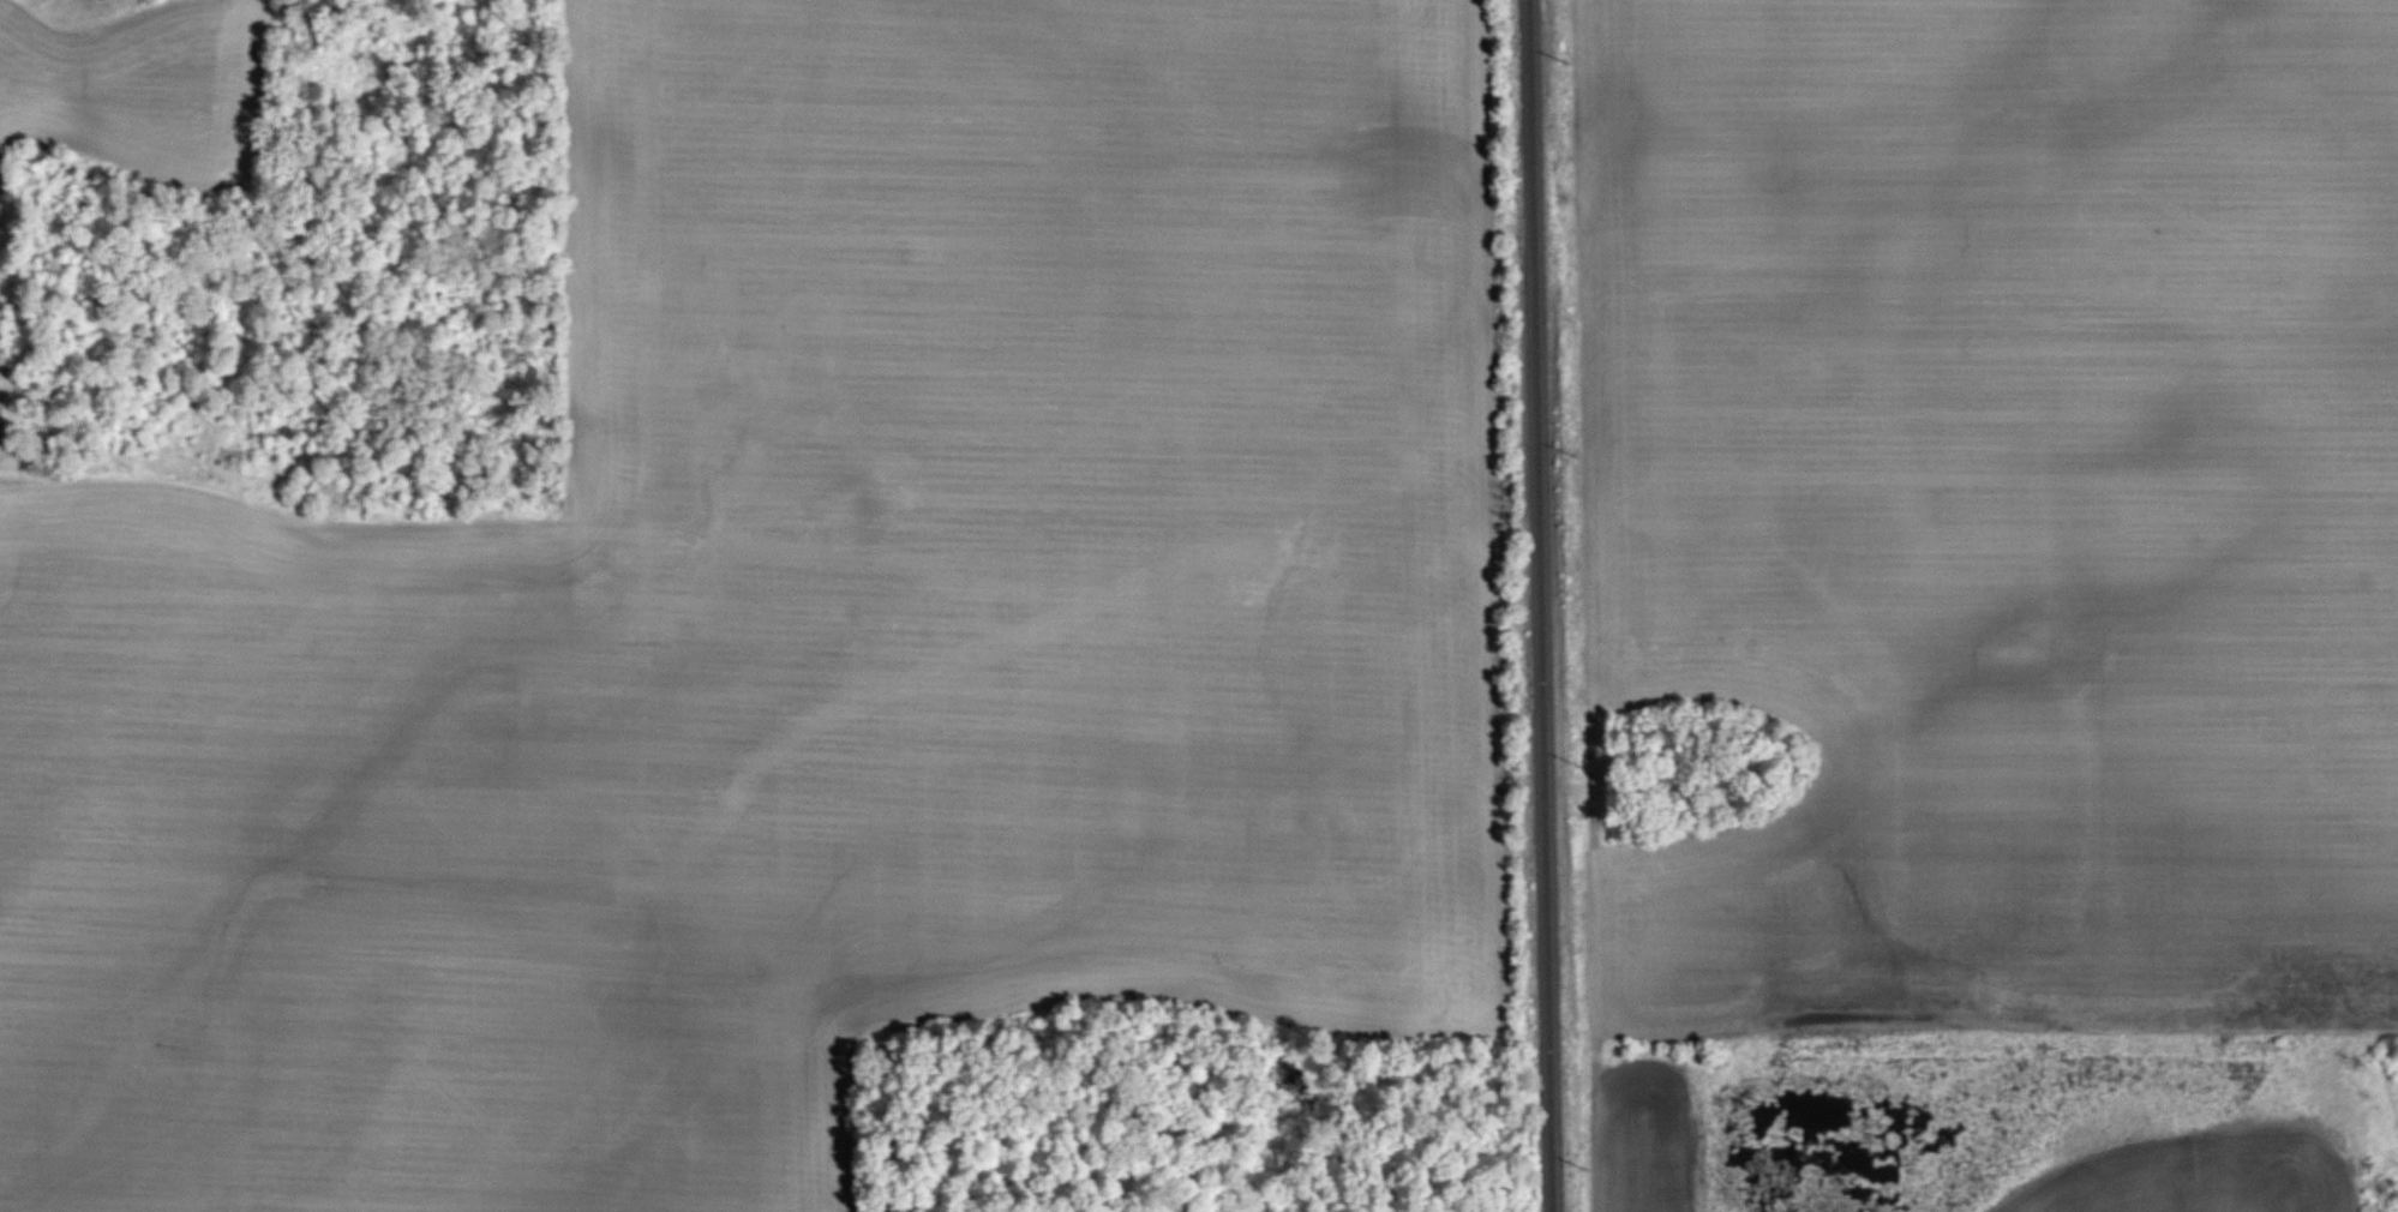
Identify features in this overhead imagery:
railway: (1536, 606)

